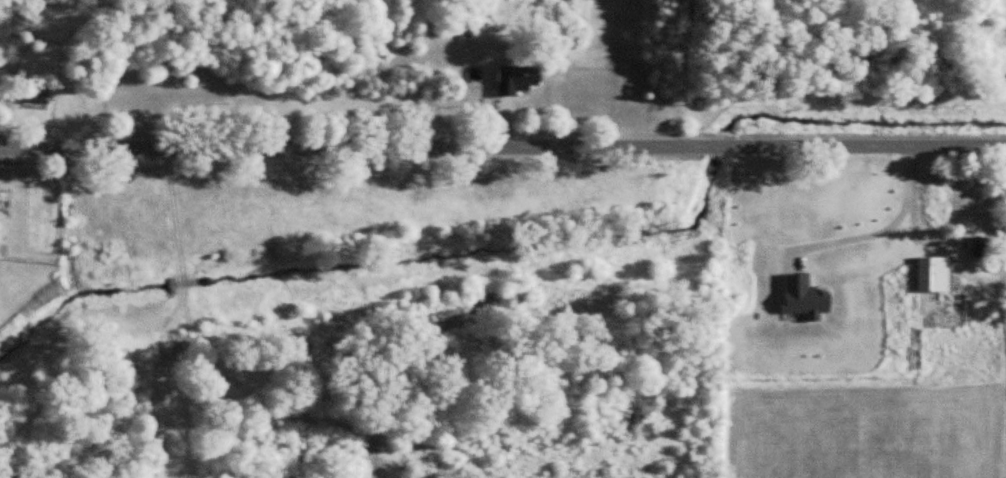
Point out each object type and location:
building: (518, 81)
road: (502, 151)
building: (991, 248)
building: (934, 290)
building: (914, 351)

